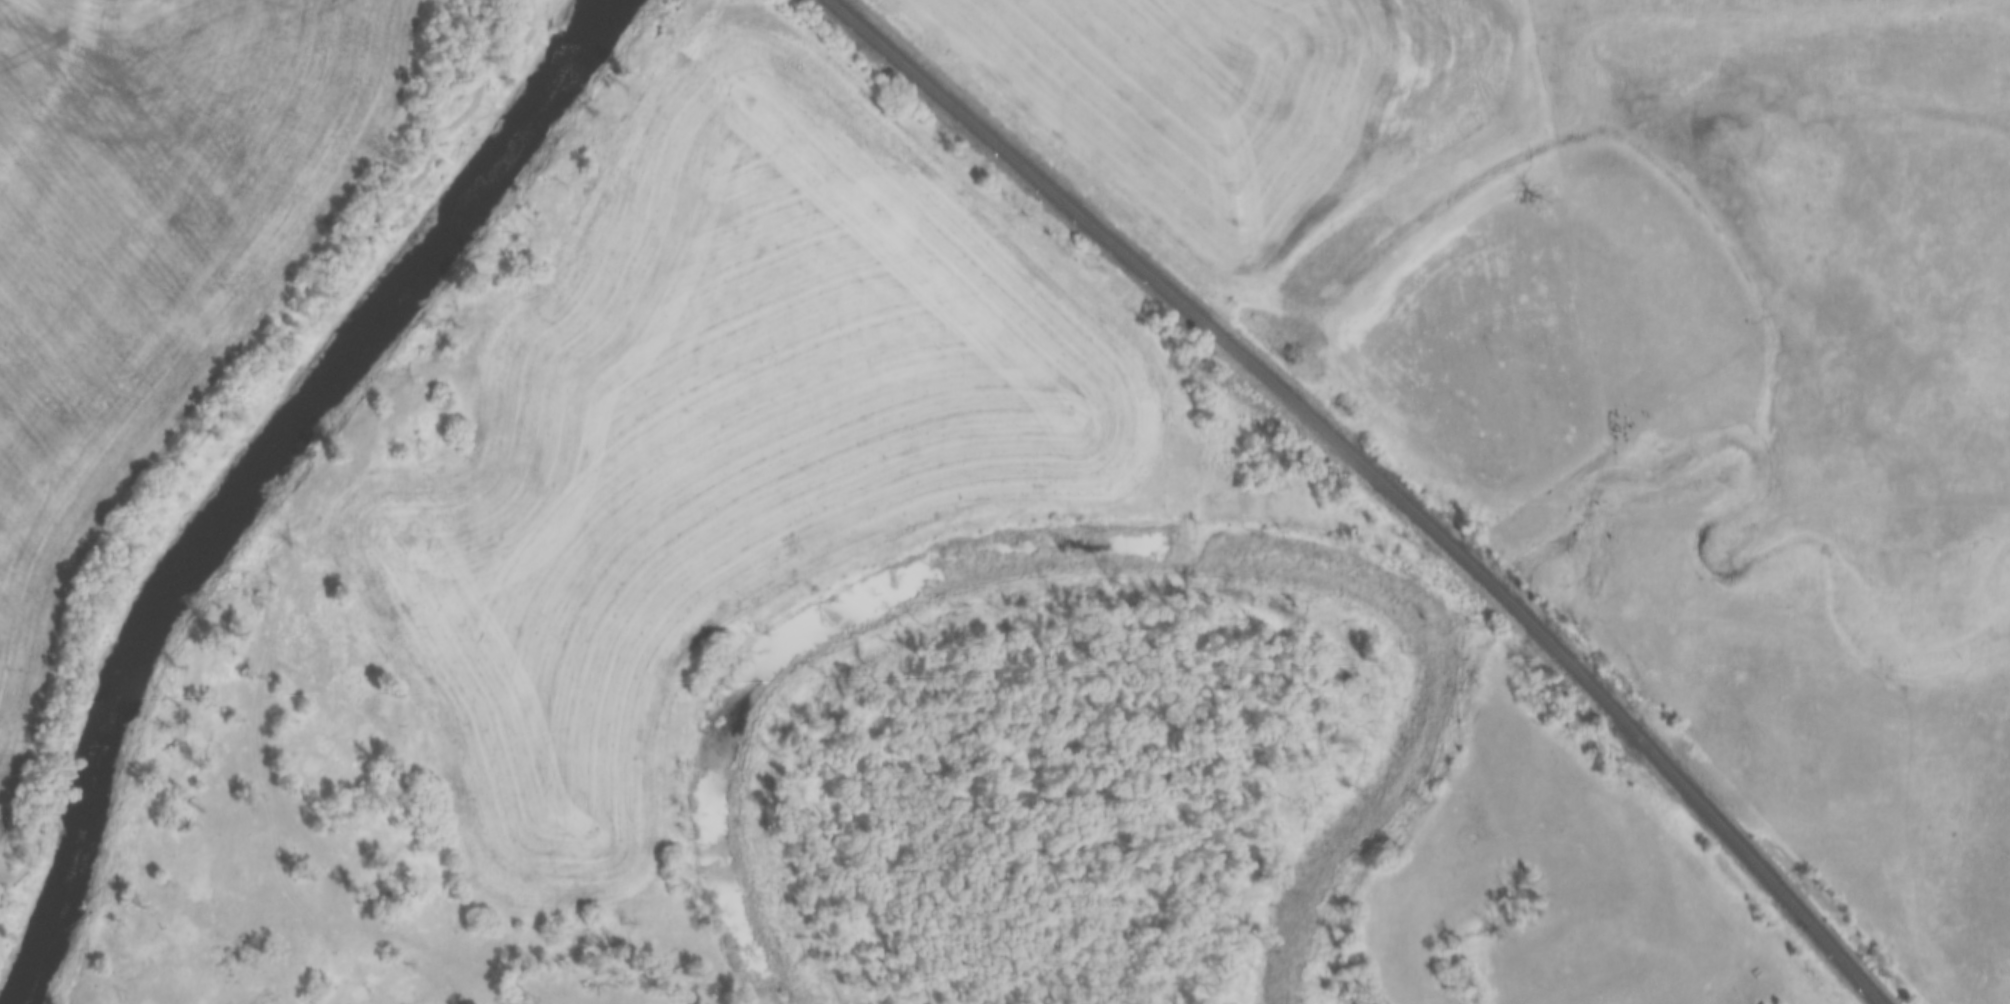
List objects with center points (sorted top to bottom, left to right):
road: (628, 142)
river: (262, 476)
railway: (1372, 480)

